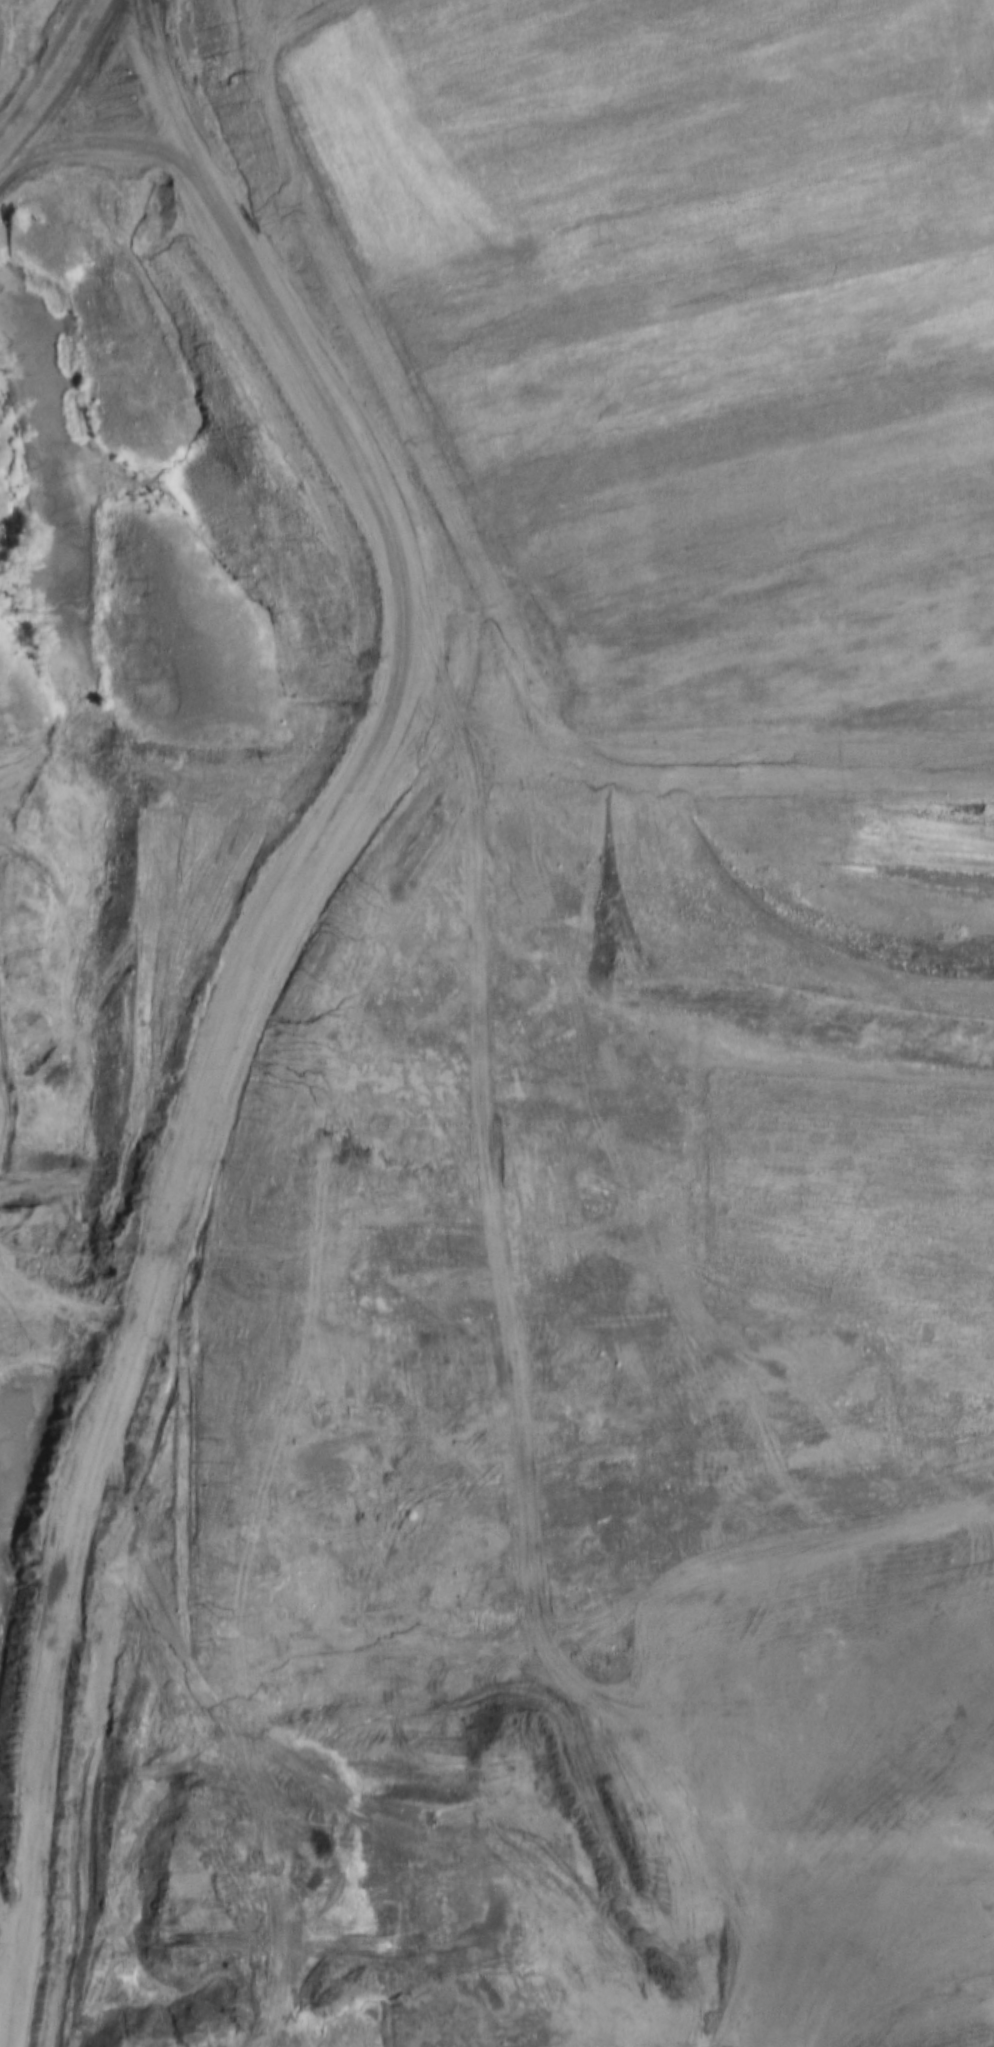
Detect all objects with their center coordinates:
road: (146, 85)
road: (497, 763)

